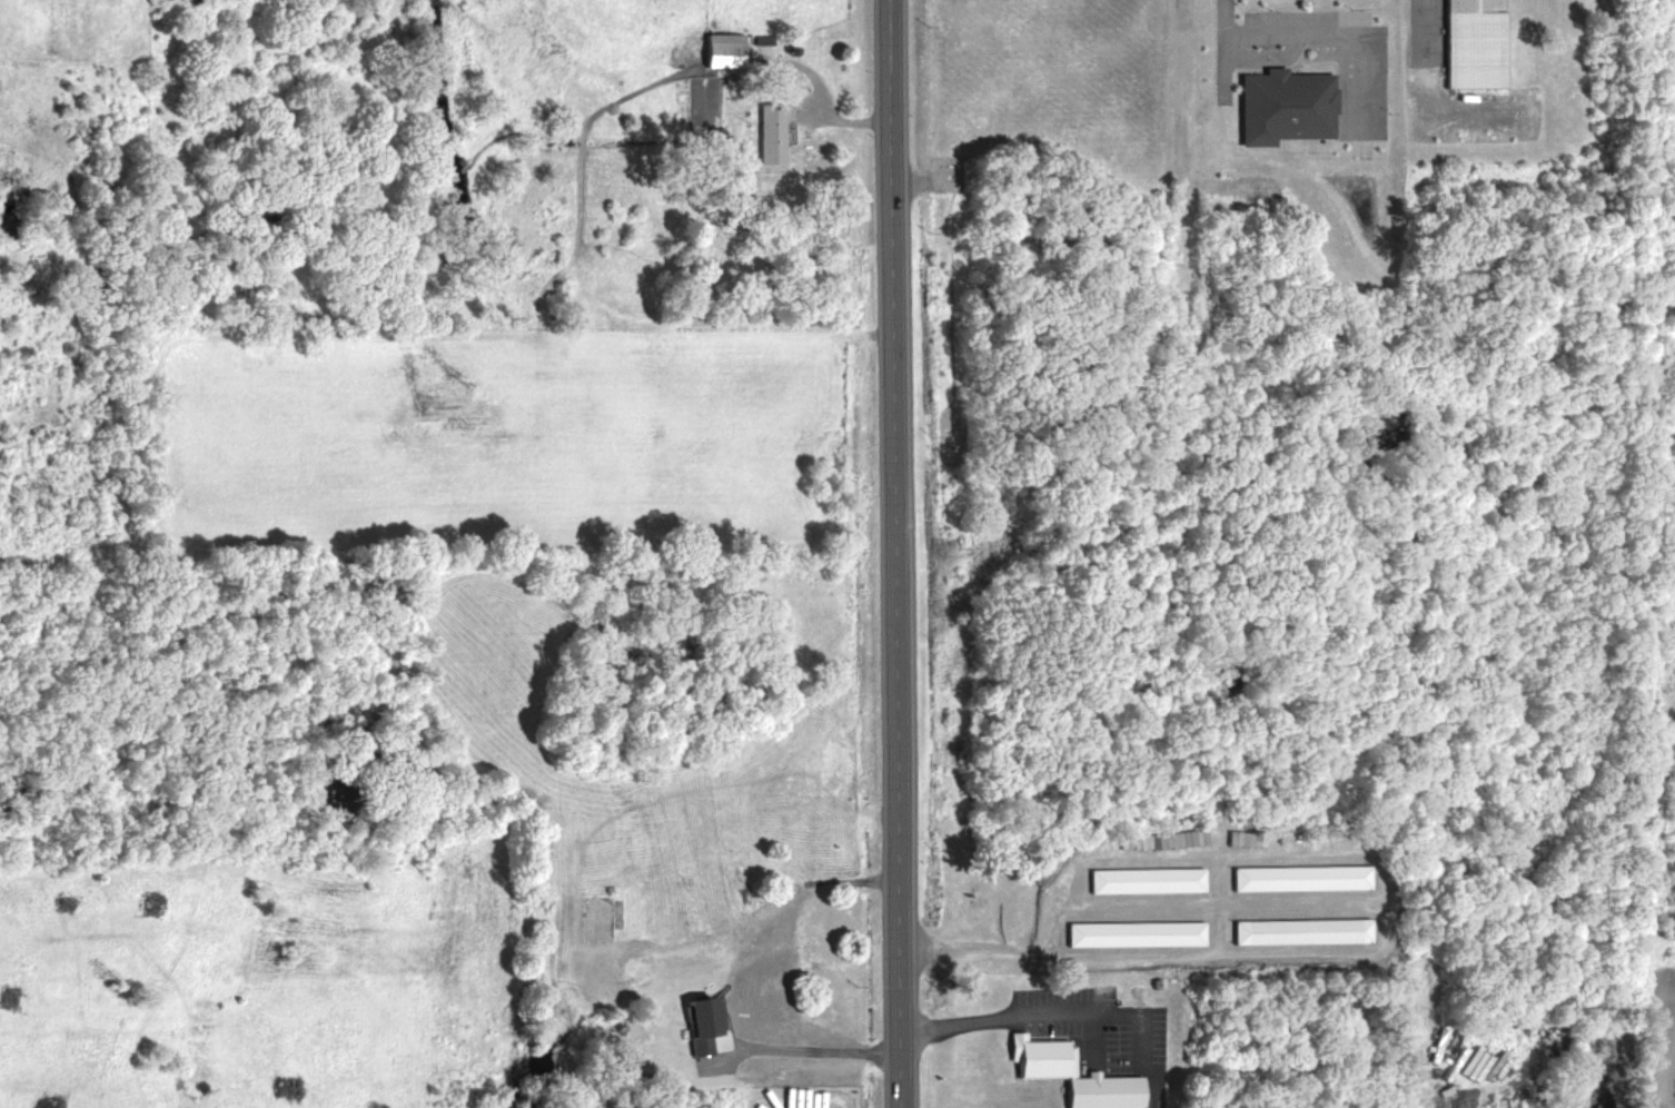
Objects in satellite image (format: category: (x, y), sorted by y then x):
road: (1178, 10)
road: (1306, 33)
road: (1415, 39)
building: (1470, 44)
building: (717, 50)
building: (1285, 105)
building: (767, 135)
road: (892, 554)
building: (1298, 874)
building: (1142, 877)
building: (602, 918)
building: (1299, 930)
building: (1132, 932)
road: (978, 947)
road: (1000, 1012)
building: (702, 1022)
road: (817, 1052)
road: (1415, 1053)
building: (1035, 1055)
road: (1666, 1064)
building: (1098, 1091)

